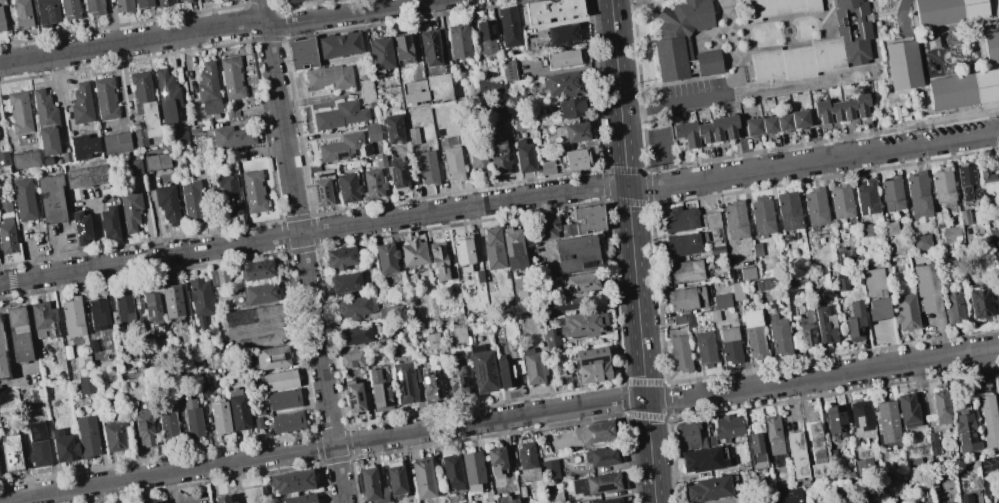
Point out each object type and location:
building: (179, 0)
building: (223, 0)
building: (292, 0)
building: (187, 1)
building: (162, 2)
building: (142, 3)
building: (123, 5)
building: (94, 6)
building: (851, 7)
building: (69, 8)
building: (779, 8)
building: (46, 11)
building: (555, 11)
building: (949, 11)
building: (22, 13)
road: (902, 16)
building: (1, 22)
building: (509, 26)
road: (215, 28)
building: (562, 34)
building: (485, 37)
building: (681, 37)
building: (459, 40)
building: (339, 44)
building: (401, 47)
building: (430, 47)
building: (992, 47)
building: (301, 53)
building: (380, 54)
building: (813, 56)
building: (562, 58)
building: (709, 63)
building: (904, 66)
building: (508, 71)
building: (231, 77)
building: (329, 77)
building: (562, 83)
building: (490, 85)
building: (437, 86)
building: (207, 89)
building: (964, 89)
building: (413, 91)
building: (366, 92)
parking lot: (700, 94)
building: (166, 95)
building: (105, 98)
building: (515, 99)
building: (81, 103)
road: (671, 103)
building: (143, 107)
building: (571, 107)
building: (841, 108)
building: (19, 112)
building: (338, 115)
building: (798, 119)
building: (45, 122)
building: (783, 122)
building: (768, 124)
building: (753, 126)
building: (393, 129)
building: (706, 130)
building: (179, 133)
building: (372, 134)
building: (570, 134)
building: (412, 135)
building: (231, 137)
building: (115, 142)
building: (82, 146)
building: (341, 147)
rooftop solar panel: (356, 152)
rooftop solar panel: (341, 154)
building: (498, 156)
building: (524, 156)
building: (4, 158)
building: (25, 159)
building: (452, 159)
building: (575, 159)
building: (477, 160)
building: (156, 161)
building: (134, 167)
building: (427, 167)
building: (547, 167)
rooftop solar panel: (394, 172)
rooftop solar panel: (402, 172)
rooftop solar panel: (324, 174)
building: (397, 175)
building: (86, 176)
building: (374, 178)
building: (988, 179)
building: (967, 182)
building: (943, 186)
building: (321, 187)
building: (347, 187)
building: (253, 191)
rooftop solar panel: (317, 191)
building: (891, 193)
building: (918, 194)
building: (229, 197)
building: (866, 197)
building: (51, 198)
building: (23, 199)
building: (191, 201)
road: (499, 201)
building: (840, 201)
building: (167, 203)
building: (815, 207)
building: (130, 209)
building: (788, 210)
building: (762, 215)
building: (964, 216)
building: (588, 218)
building: (688, 219)
building: (734, 219)
building: (938, 219)
building: (997, 220)
building: (109, 222)
building: (544, 225)
building: (80, 227)
building: (7, 228)
building: (890, 228)
building: (864, 230)
road: (97, 234)
building: (950, 234)
building: (921, 242)
building: (684, 243)
building: (715, 247)
building: (993, 247)
building: (493, 248)
building: (513, 249)
building: (755, 249)
road: (303, 251)
building: (463, 251)
road: (633, 251)
building: (413, 252)
road: (55, 255)
building: (576, 255)
building: (341, 257)
building: (385, 257)
building: (441, 262)
building: (256, 270)
building: (683, 271)
building: (746, 273)
building: (218, 276)
building: (842, 280)
building: (345, 282)
building: (582, 282)
building: (765, 283)
building: (926, 288)
building: (736, 291)
building: (258, 293)
building: (874, 294)
building: (520, 295)
building: (686, 297)
building: (199, 299)
building: (721, 300)
building: (171, 301)
building: (978, 302)
building: (138, 305)
building: (123, 306)
building: (355, 306)
building: (559, 306)
building: (953, 307)
building: (152, 308)
building: (98, 312)
building: (387, 312)
building: (905, 312)
building: (713, 315)
building: (72, 316)
building: (253, 319)
building: (44, 320)
building: (683, 320)
building: (824, 322)
building: (855, 322)
building: (583, 324)
building: (805, 331)
building: (18, 333)
building: (459, 333)
building: (355, 334)
building: (752, 335)
building: (778, 336)
building: (551, 337)
building: (433, 341)
building: (92, 345)
building: (729, 346)
building: (703, 349)
building: (66, 351)
building: (591, 354)
building: (679, 354)
building: (271, 357)
building: (3, 359)
building: (351, 359)
building: (534, 367)
building: (483, 369)
rooftop solar panel: (480, 372)
building: (593, 372)
building: (507, 373)
rooftop solar panel: (451, 374)
rooftop solar panel: (429, 378)
building: (280, 380)
rooftop solar panel: (424, 380)
rooftop solar panel: (463, 380)
building: (457, 381)
building: (406, 382)
building: (86, 385)
rooftop solar panel: (452, 385)
rooftop solar panel: (425, 387)
building: (430, 387)
building: (203, 390)
building: (380, 392)
rooftop solar panel: (347, 394)
rooftop solar panel: (357, 395)
building: (355, 398)
building: (282, 399)
rooftop solar panel: (350, 401)
building: (940, 406)
building: (907, 409)
building: (237, 410)
building: (257, 412)
building: (191, 417)
building: (219, 417)
road: (499, 418)
building: (862, 418)
building: (835, 419)
building: (989, 420)
building: (887, 421)
building: (166, 422)
building: (286, 422)
building: (257, 423)
building: (143, 427)
building: (727, 429)
building: (965, 430)
building: (595, 432)
building: (86, 435)
building: (773, 435)
building: (114, 436)
building: (691, 436)
building: (931, 443)
building: (37, 444)
building: (63, 446)
building: (757, 451)
building: (817, 451)
rooftop solar panel: (6, 454)
building: (10, 454)
building: (797, 455)
building: (601, 457)
building: (497, 460)
building: (700, 460)
building: (528, 462)
rooftop solar panel: (14, 467)
building: (863, 467)
building: (550, 469)
road: (994, 469)
building: (473, 470)
building: (452, 471)
building: (395, 477)
building: (423, 478)
building: (292, 480)
building: (599, 484)
building: (371, 485)
building: (708, 489)
building: (252, 494)
building: (789, 496)
building: (965, 498)
building: (222, 499)
building: (302, 499)
building: (505, 500)
building: (610, 500)
building: (995, 501)
building: (157, 502)
building: (233, 502)
building: (462, 502)
building: (926, 502)
building: (956, 502)
building: (982, 502)

